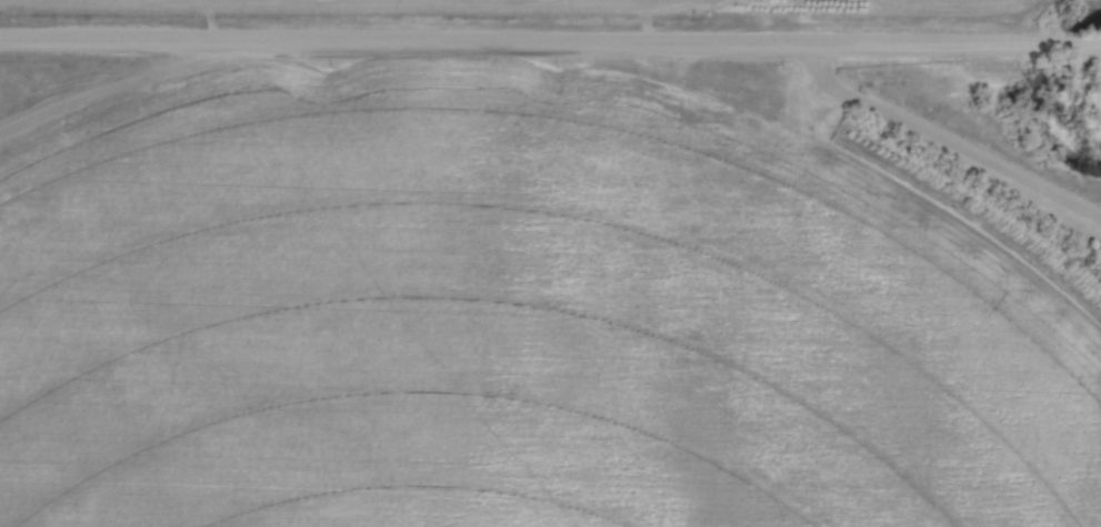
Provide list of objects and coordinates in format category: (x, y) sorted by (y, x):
crop: (597, 7)
road: (550, 38)
road: (943, 138)
crop: (514, 316)

